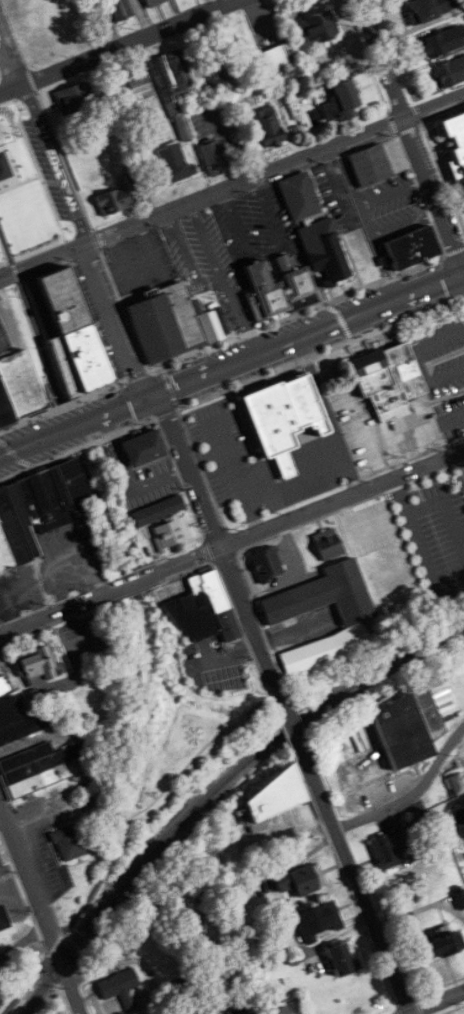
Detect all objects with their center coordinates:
building: (152, 2)
park: (186, 3)
building: (120, 8)
building: (426, 10)
building: (319, 28)
building: (443, 42)
road: (116, 47)
building: (279, 60)
building: (451, 73)
building: (220, 83)
building: (175, 89)
building: (135, 90)
building: (73, 99)
building: (346, 100)
road: (413, 126)
building: (268, 128)
building: (451, 145)
building: (213, 158)
building: (173, 165)
building: (370, 166)
road: (231, 185)
building: (11, 186)
building: (300, 197)
building: (113, 202)
road: (366, 202)
road: (72, 209)
road: (393, 229)
building: (411, 247)
building: (325, 249)
road: (120, 260)
road: (383, 268)
building: (281, 286)
road: (32, 313)
building: (170, 323)
building: (72, 333)
road: (232, 364)
road: (50, 375)
building: (386, 380)
building: (19, 386)
road: (316, 387)
building: (284, 421)
building: (143, 448)
road: (342, 454)
road: (267, 491)
road: (398, 497)
road: (312, 509)
building: (36, 510)
building: (158, 511)
road: (446, 512)
road: (248, 514)
building: (459, 516)
building: (431, 530)
building: (171, 531)
road: (220, 542)
building: (265, 563)
road: (426, 565)
building: (446, 565)
road: (128, 580)
building: (314, 600)
building: (204, 610)
road: (48, 612)
building: (39, 667)
building: (4, 686)
road: (272, 695)
building: (10, 708)
building: (408, 720)
building: (23, 726)
road: (294, 734)
road: (135, 749)
road: (191, 761)
building: (42, 765)
building: (457, 784)
railway: (217, 788)
road: (51, 794)
road: (412, 795)
building: (273, 796)
building: (92, 800)
road: (297, 834)
building: (70, 842)
building: (388, 848)
building: (1, 862)
building: (0, 868)
building: (300, 882)
road: (362, 895)
building: (459, 898)
road: (41, 908)
building: (3, 919)
building: (314, 921)
road: (24, 942)
building: (438, 946)
building: (342, 959)
building: (119, 987)
road: (437, 1003)
building: (280, 1011)
building: (249, 1013)

